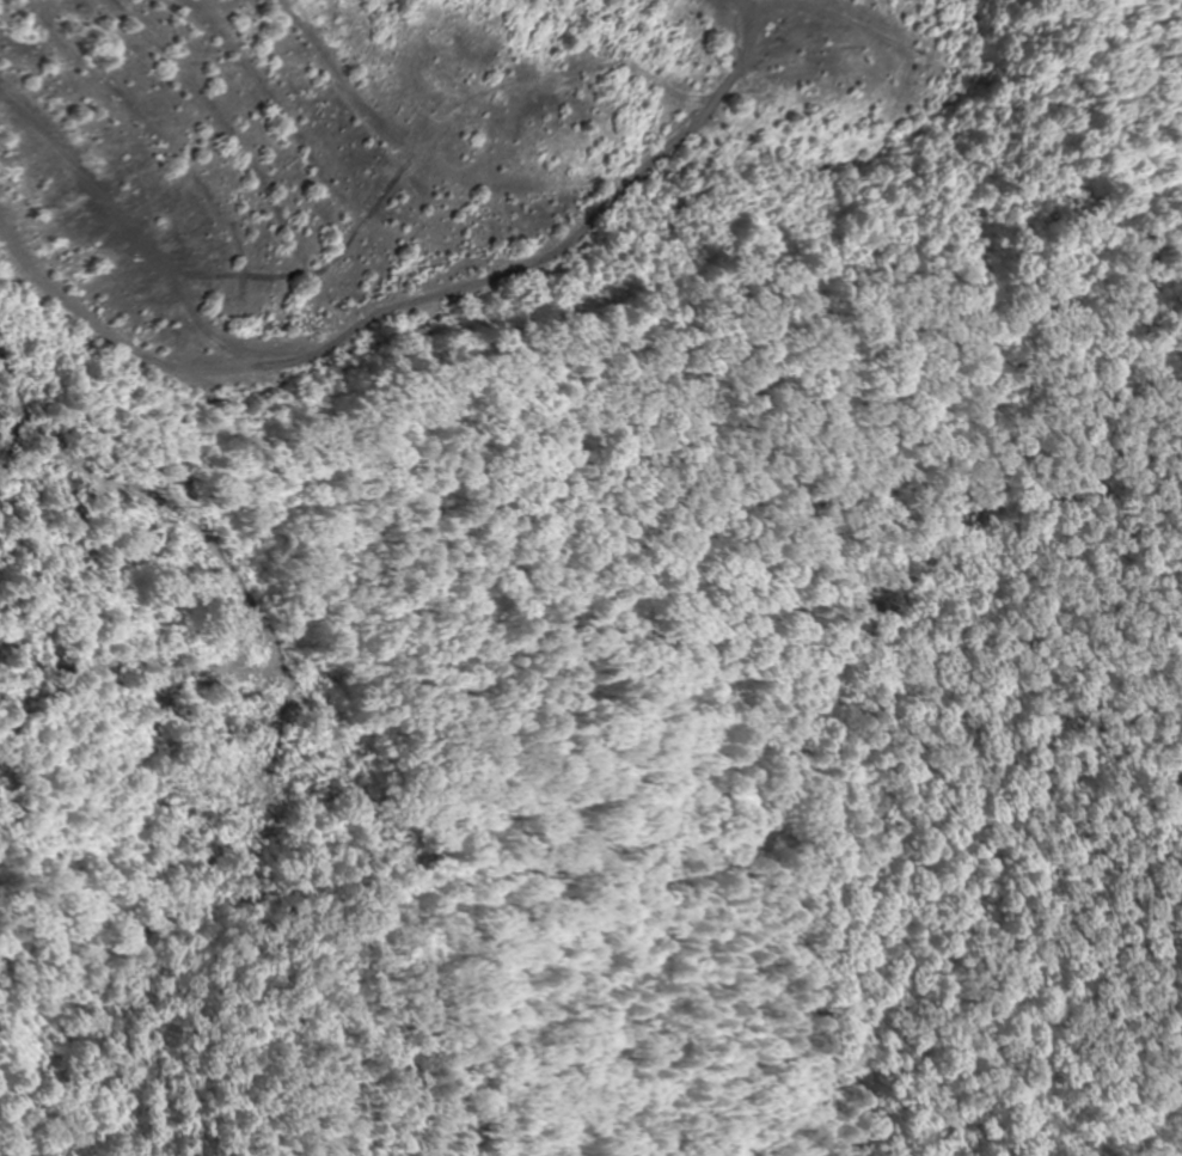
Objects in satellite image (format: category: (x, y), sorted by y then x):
road: (384, 192)
road: (506, 1140)

